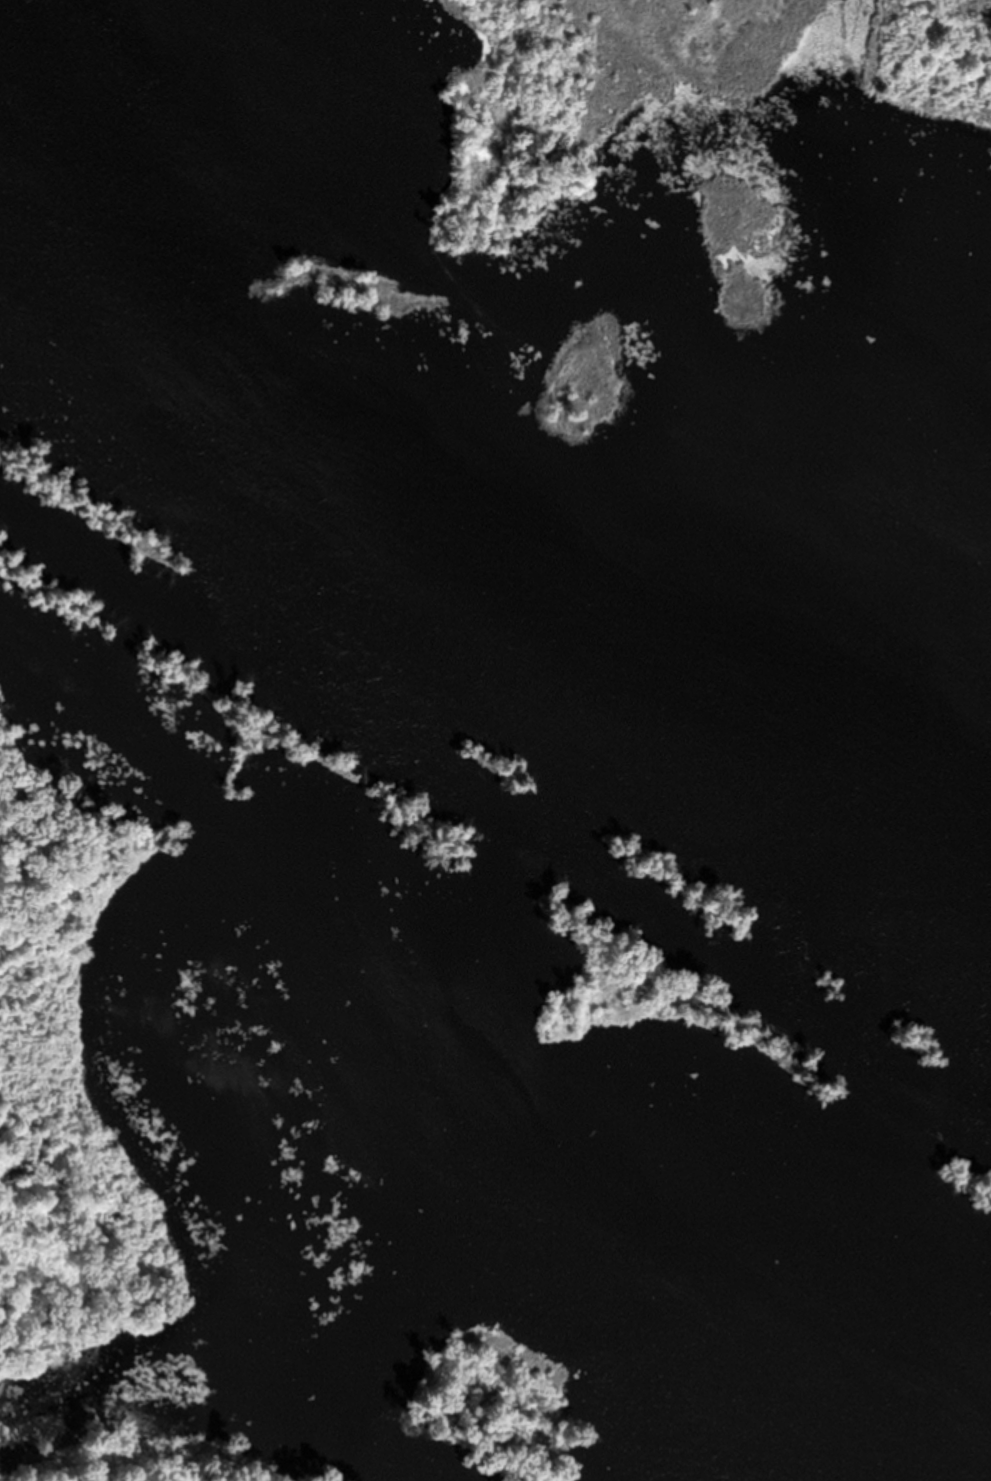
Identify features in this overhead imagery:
river: (93, 578)
river: (589, 889)

